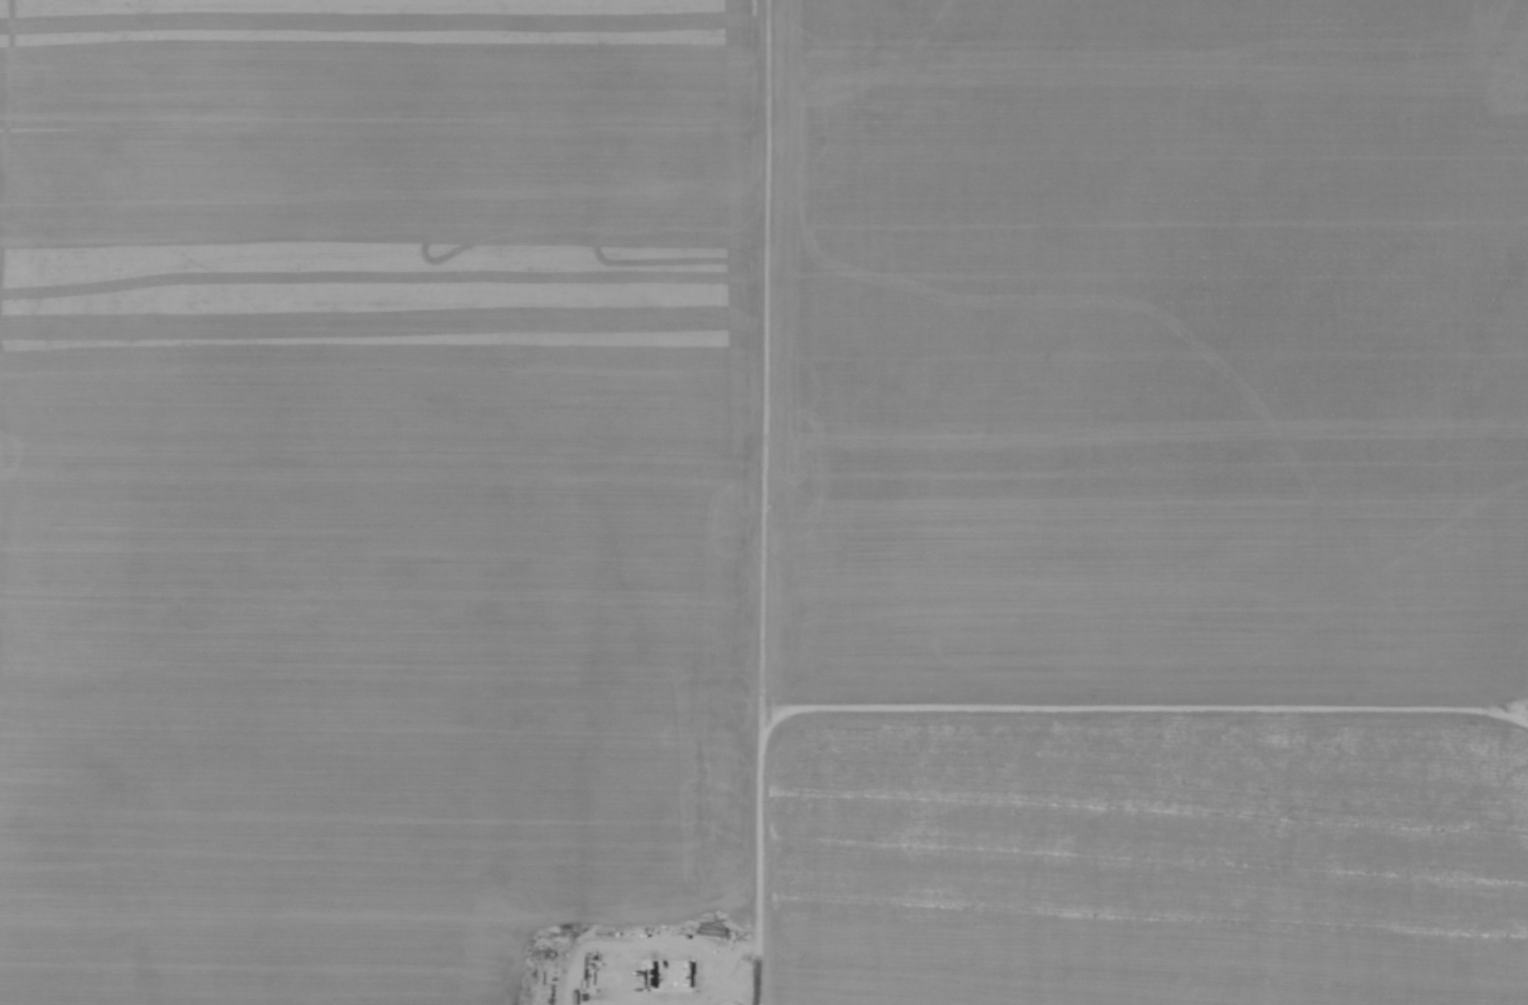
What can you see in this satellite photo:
crop: (764, 502)
road: (1005, 709)

